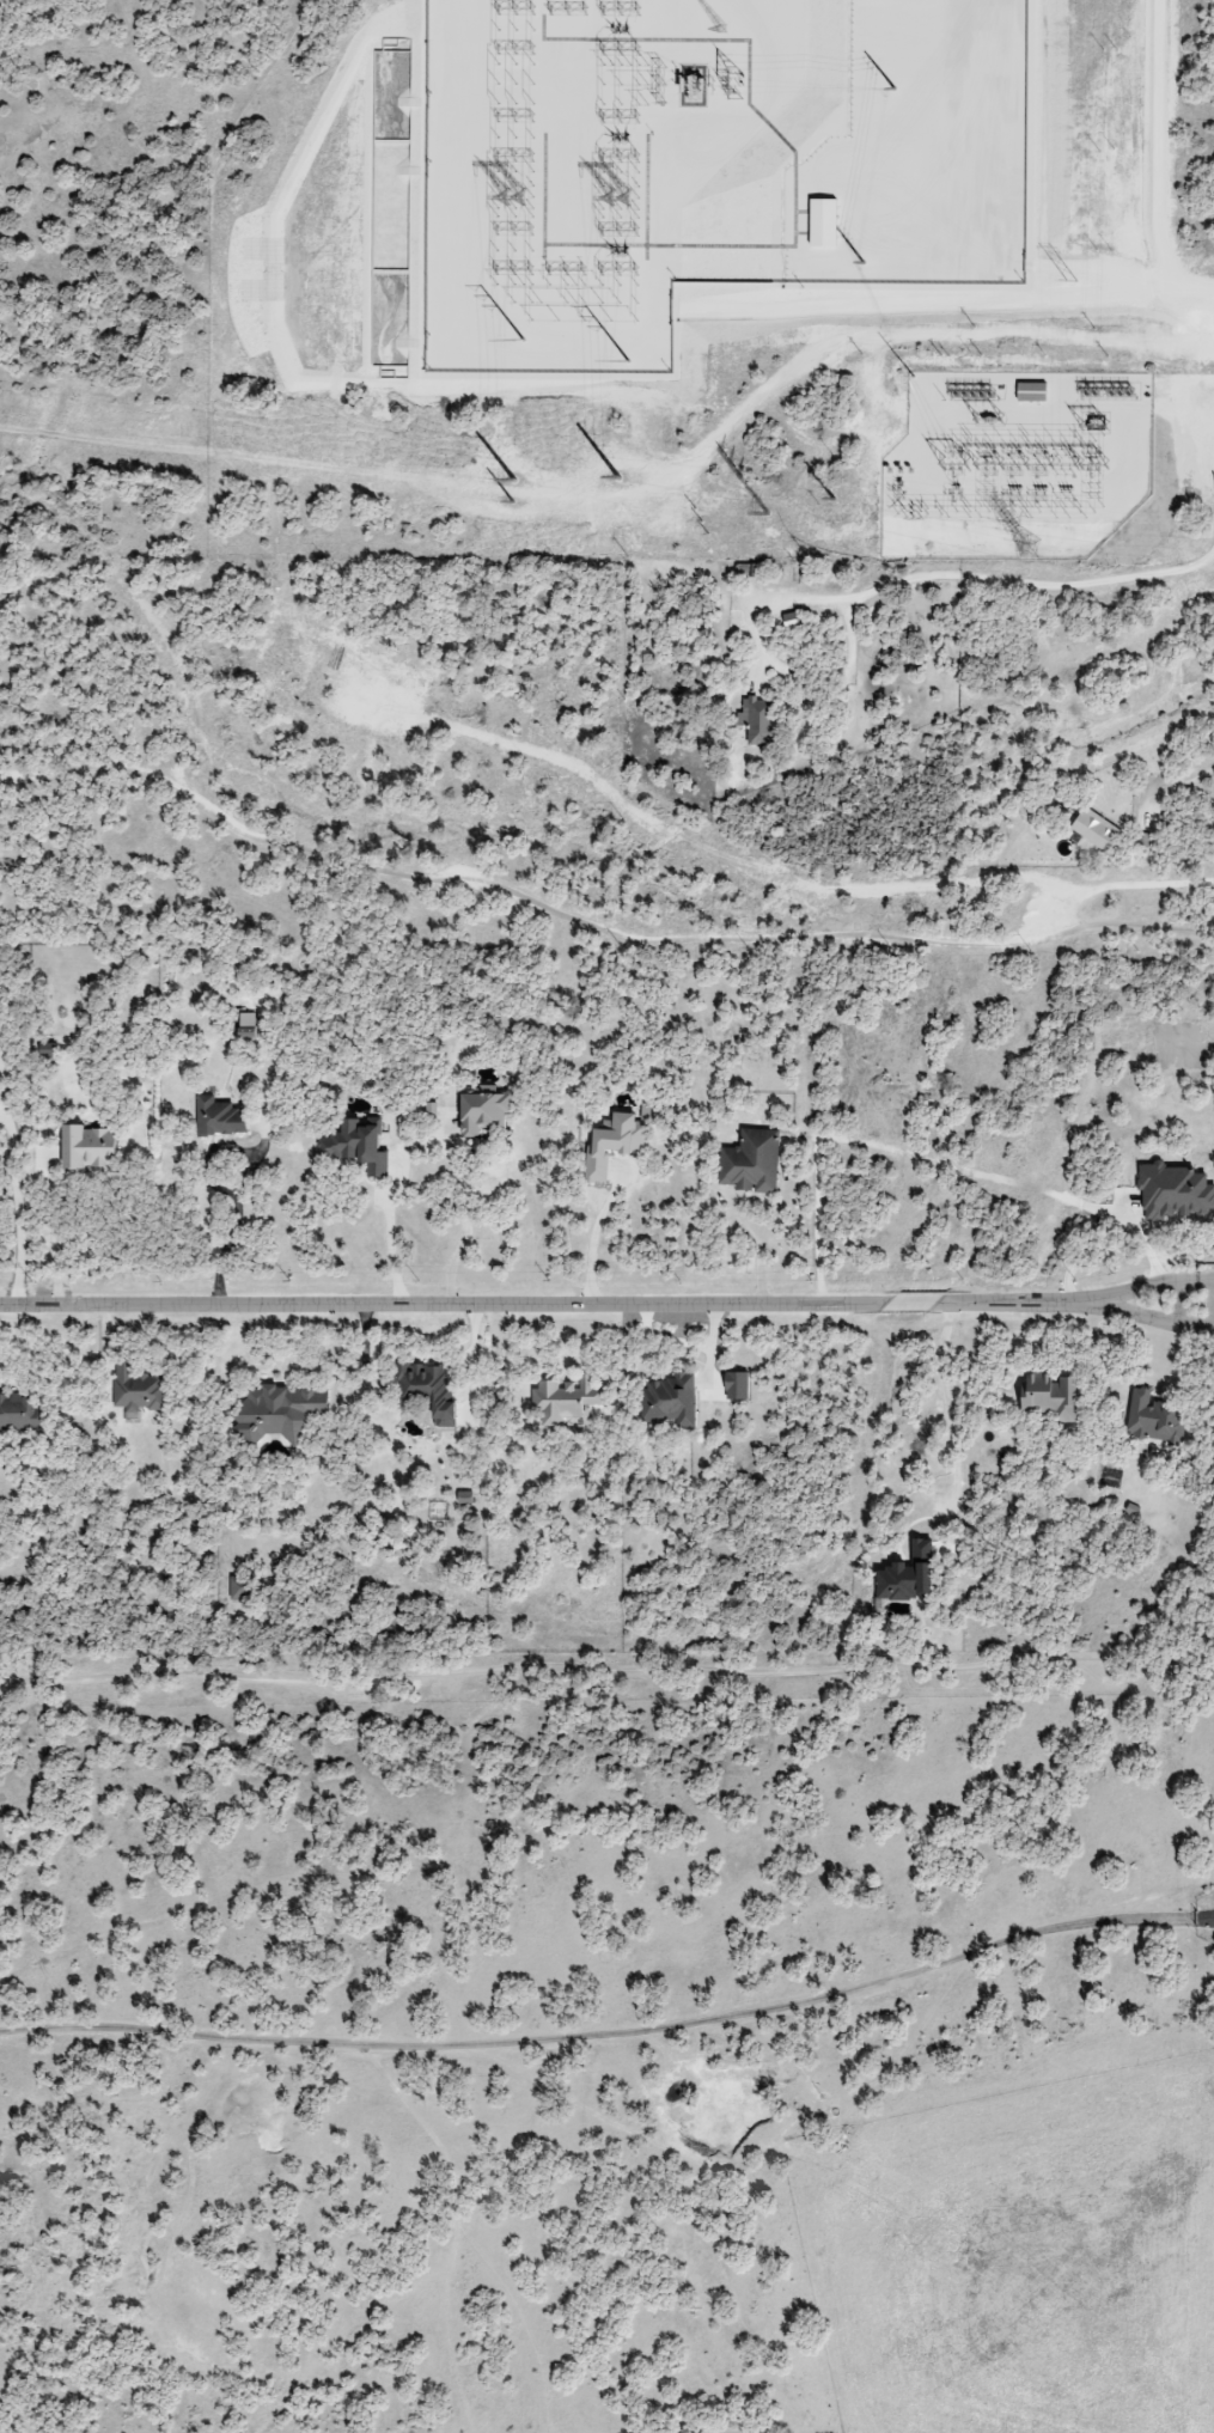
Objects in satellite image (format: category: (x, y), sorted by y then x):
power tower: (890, 86)
power tower: (730, 87)
power substation: (703, 160)
road: (1164, 161)
power tower: (517, 199)
power tower: (618, 199)
building: (822, 222)
power tower: (860, 261)
building: (1032, 392)
road: (1183, 414)
power tower: (732, 461)
power substation: (1014, 465)
power tower: (513, 477)
power tower: (615, 481)
power tower: (512, 499)
power tower: (832, 500)
power tower: (700, 519)
power tower: (768, 520)
power tower: (1031, 549)
road: (952, 574)
building: (791, 620)
road: (842, 647)
building: (758, 720)
road: (1164, 778)
building: (1097, 830)
road: (482, 884)
road: (1092, 890)
building: (246, 1024)
building: (483, 1112)
building: (219, 1117)
building: (614, 1145)
building: (89, 1147)
building: (359, 1147)
building: (751, 1161)
building: (1173, 1190)
road: (20, 1214)
road: (234, 1224)
road: (463, 1226)
road: (392, 1240)
road: (594, 1242)
road: (51, 1244)
road: (762, 1248)
road: (1082, 1249)
road: (1154, 1289)
road: (1179, 1304)
road: (548, 1306)
road: (1154, 1319)
building: (737, 1385)
building: (138, 1389)
building: (428, 1391)
building: (1050, 1396)
building: (565, 1400)
building: (670, 1401)
road: (950, 1401)
building: (280, 1411)
building: (20, 1413)
building: (1153, 1419)
building: (465, 1498)
building: (907, 1577)
building: (240, 1589)
road: (606, 1672)
road: (612, 2036)

